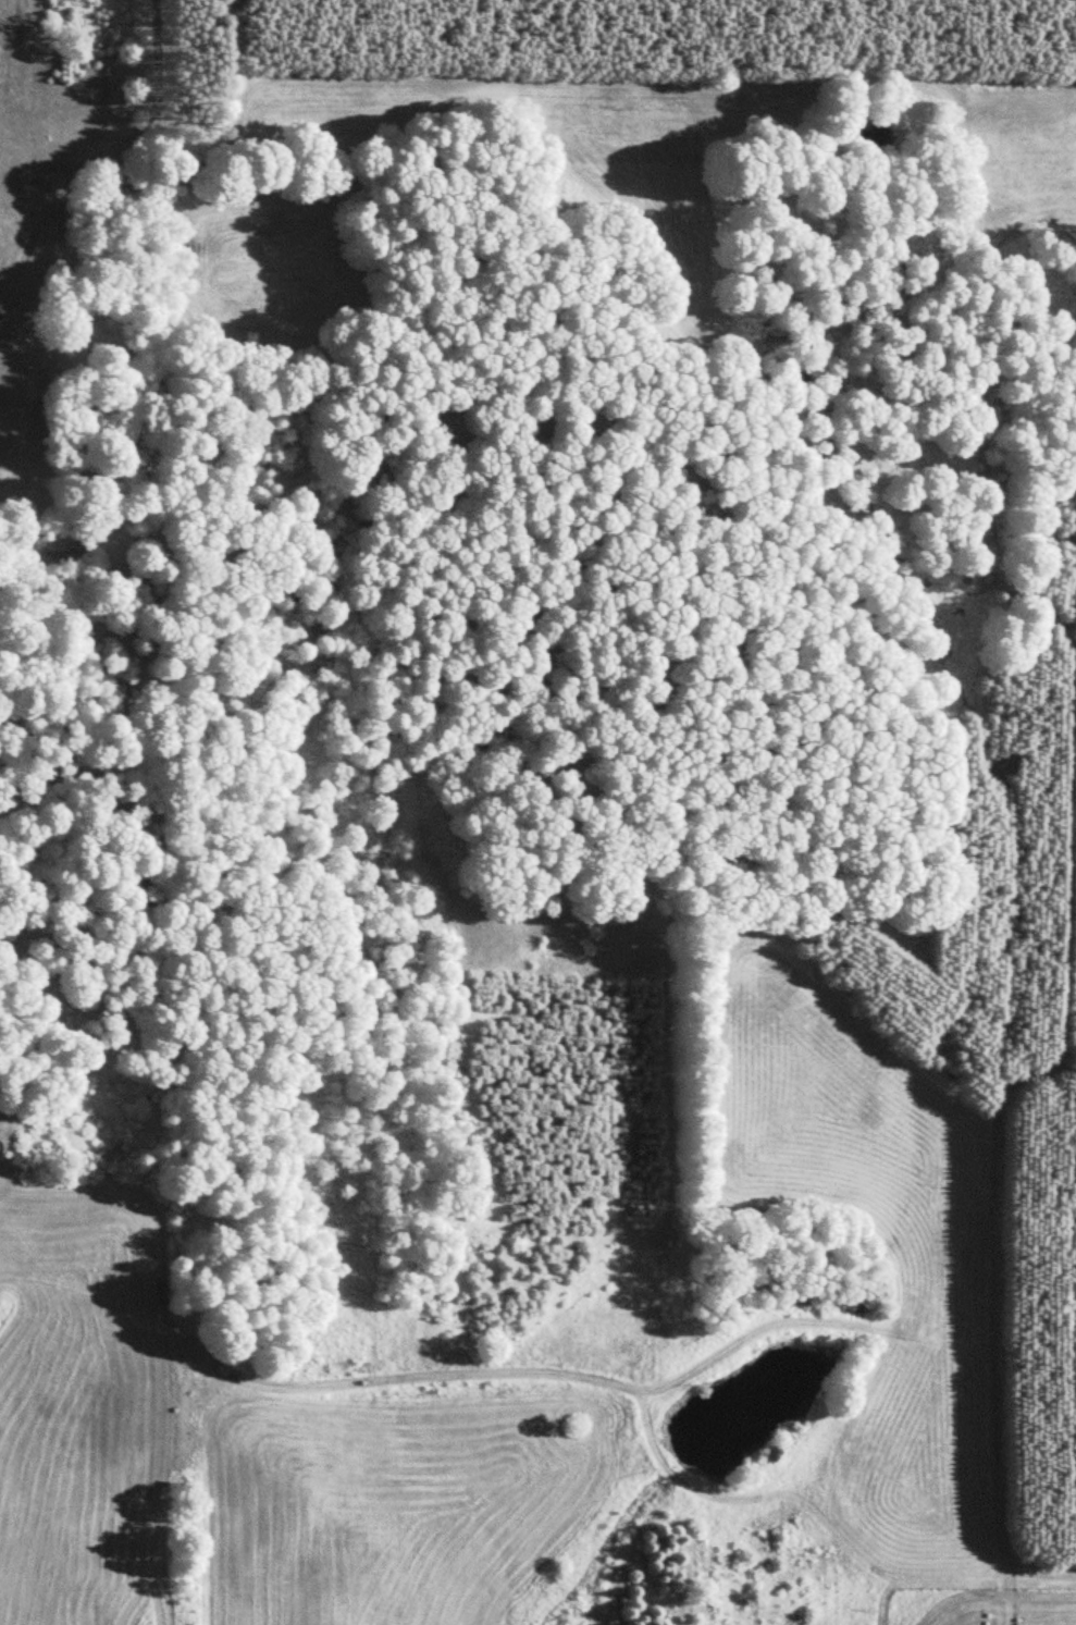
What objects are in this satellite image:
road: (490, 77)
road: (44, 214)
road: (987, 250)

